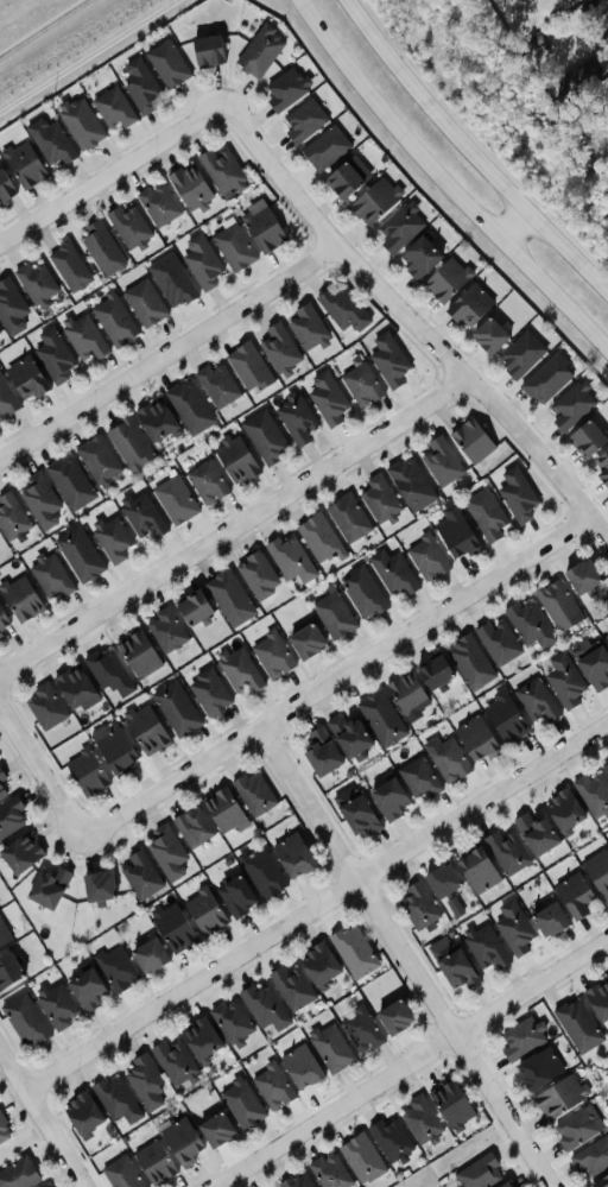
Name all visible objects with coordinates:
building: (607, 11)
building: (207, 51)
building: (259, 51)
building: (165, 64)
building: (139, 86)
building: (285, 89)
building: (112, 108)
building: (303, 121)
building: (80, 124)
building: (49, 141)
building: (324, 149)
road: (473, 150)
building: (21, 164)
building: (218, 169)
road: (112, 172)
building: (342, 181)
road: (444, 184)
building: (188, 187)
building: (5, 188)
building: (373, 201)
building: (157, 203)
road: (513, 223)
building: (127, 225)
building: (398, 228)
building: (262, 229)
building: (232, 247)
building: (100, 248)
building: (418, 258)
building: (201, 261)
building: (68, 266)
building: (170, 279)
building: (445, 279)
building: (34, 283)
building: (142, 302)
building: (468, 305)
building: (9, 309)
building: (342, 309)
building: (112, 320)
road: (414, 321)
building: (306, 327)
building: (488, 335)
building: (83, 337)
building: (278, 348)
road: (169, 349)
building: (520, 354)
building: (52, 355)
building: (387, 360)
building: (247, 366)
building: (25, 378)
building: (546, 379)
building: (360, 384)
building: (215, 385)
building: (327, 398)
building: (6, 400)
building: (570, 405)
building: (188, 406)
building: (294, 419)
building: (154, 421)
building: (264, 437)
building: (585, 438)
building: (470, 441)
building: (129, 444)
building: (97, 460)
building: (234, 461)
building: (441, 461)
building: (603, 468)
building: (69, 481)
building: (205, 482)
building: (410, 484)
building: (515, 495)
building: (379, 498)
building: (173, 500)
building: (39, 501)
building: (141, 516)
building: (9, 517)
building: (347, 518)
building: (486, 518)
road: (234, 525)
building: (454, 533)
building: (110, 538)
building: (318, 538)
building: (77, 554)
building: (425, 557)
building: (290, 558)
building: (392, 574)
building: (256, 575)
building: (50, 576)
building: (581, 576)
building: (361, 592)
building: (18, 598)
building: (229, 599)
building: (557, 605)
building: (191, 608)
building: (332, 615)
building: (1, 620)
building: (528, 624)
building: (164, 630)
building: (0, 634)
building: (606, 638)
building: (304, 642)
building: (498, 642)
building: (137, 654)
building: (271, 655)
building: (469, 662)
building: (594, 667)
building: (107, 671)
building: (237, 671)
building: (432, 673)
road: (337, 676)
building: (563, 681)
building: (71, 687)
building: (207, 693)
building: (405, 693)
building: (536, 701)
building: (44, 707)
building: (175, 708)
building: (380, 718)
building: (505, 720)
building: (145, 730)
building: (348, 734)
building: (475, 739)
building: (114, 751)
building: (319, 753)
building: (448, 760)
building: (604, 766)
road: (40, 769)
building: (84, 772)
building: (1, 776)
building: (418, 777)
building: (1, 791)
building: (593, 793)
building: (253, 794)
building: (388, 800)
building: (221, 809)
building: (562, 809)
building: (355, 813)
building: (9, 815)
building: (191, 827)
building: (534, 833)
building: (165, 852)
building: (505, 852)
building: (19, 853)
building: (292, 855)
building: (476, 870)
building: (261, 872)
building: (597, 872)
building: (139, 875)
building: (441, 880)
building: (96, 886)
building: (46, 888)
building: (235, 896)
building: (575, 896)
road: (316, 904)
building: (417, 905)
building: (451, 907)
building: (203, 911)
building: (547, 920)
building: (172, 928)
building: (513, 928)
building: (4, 934)
building: (484, 947)
building: (353, 951)
building: (146, 955)
road: (406, 956)
building: (318, 964)
building: (114, 967)
building: (455, 968)
building: (7, 971)
building: (291, 986)
building: (85, 990)
building: (598, 999)
building: (56, 1005)
building: (264, 1006)
building: (393, 1017)
building: (229, 1019)
building: (24, 1021)
building: (577, 1024)
building: (360, 1030)
building: (199, 1038)
building: (520, 1038)
building: (330, 1048)
building: (172, 1061)
road: (408, 1062)
building: (299, 1067)
building: (538, 1068)
building: (144, 1081)
building: (271, 1086)
building: (558, 1097)
building: (115, 1099)
building: (607, 1101)
building: (240, 1103)
building: (449, 1104)
building: (81, 1113)
road: (43, 1117)
building: (419, 1119)
building: (214, 1129)
building: (574, 1129)
building: (4, 1131)
building: (389, 1139)
building: (179, 1141)
building: (591, 1156)
building: (361, 1157)
building: (152, 1161)
building: (329, 1170)
building: (120, 1173)
building: (477, 1173)
building: (18, 1174)
building: (296, 1180)
building: (600, 1182)
building: (502, 1185)
building: (40, 1186)
building: (44, 1186)

